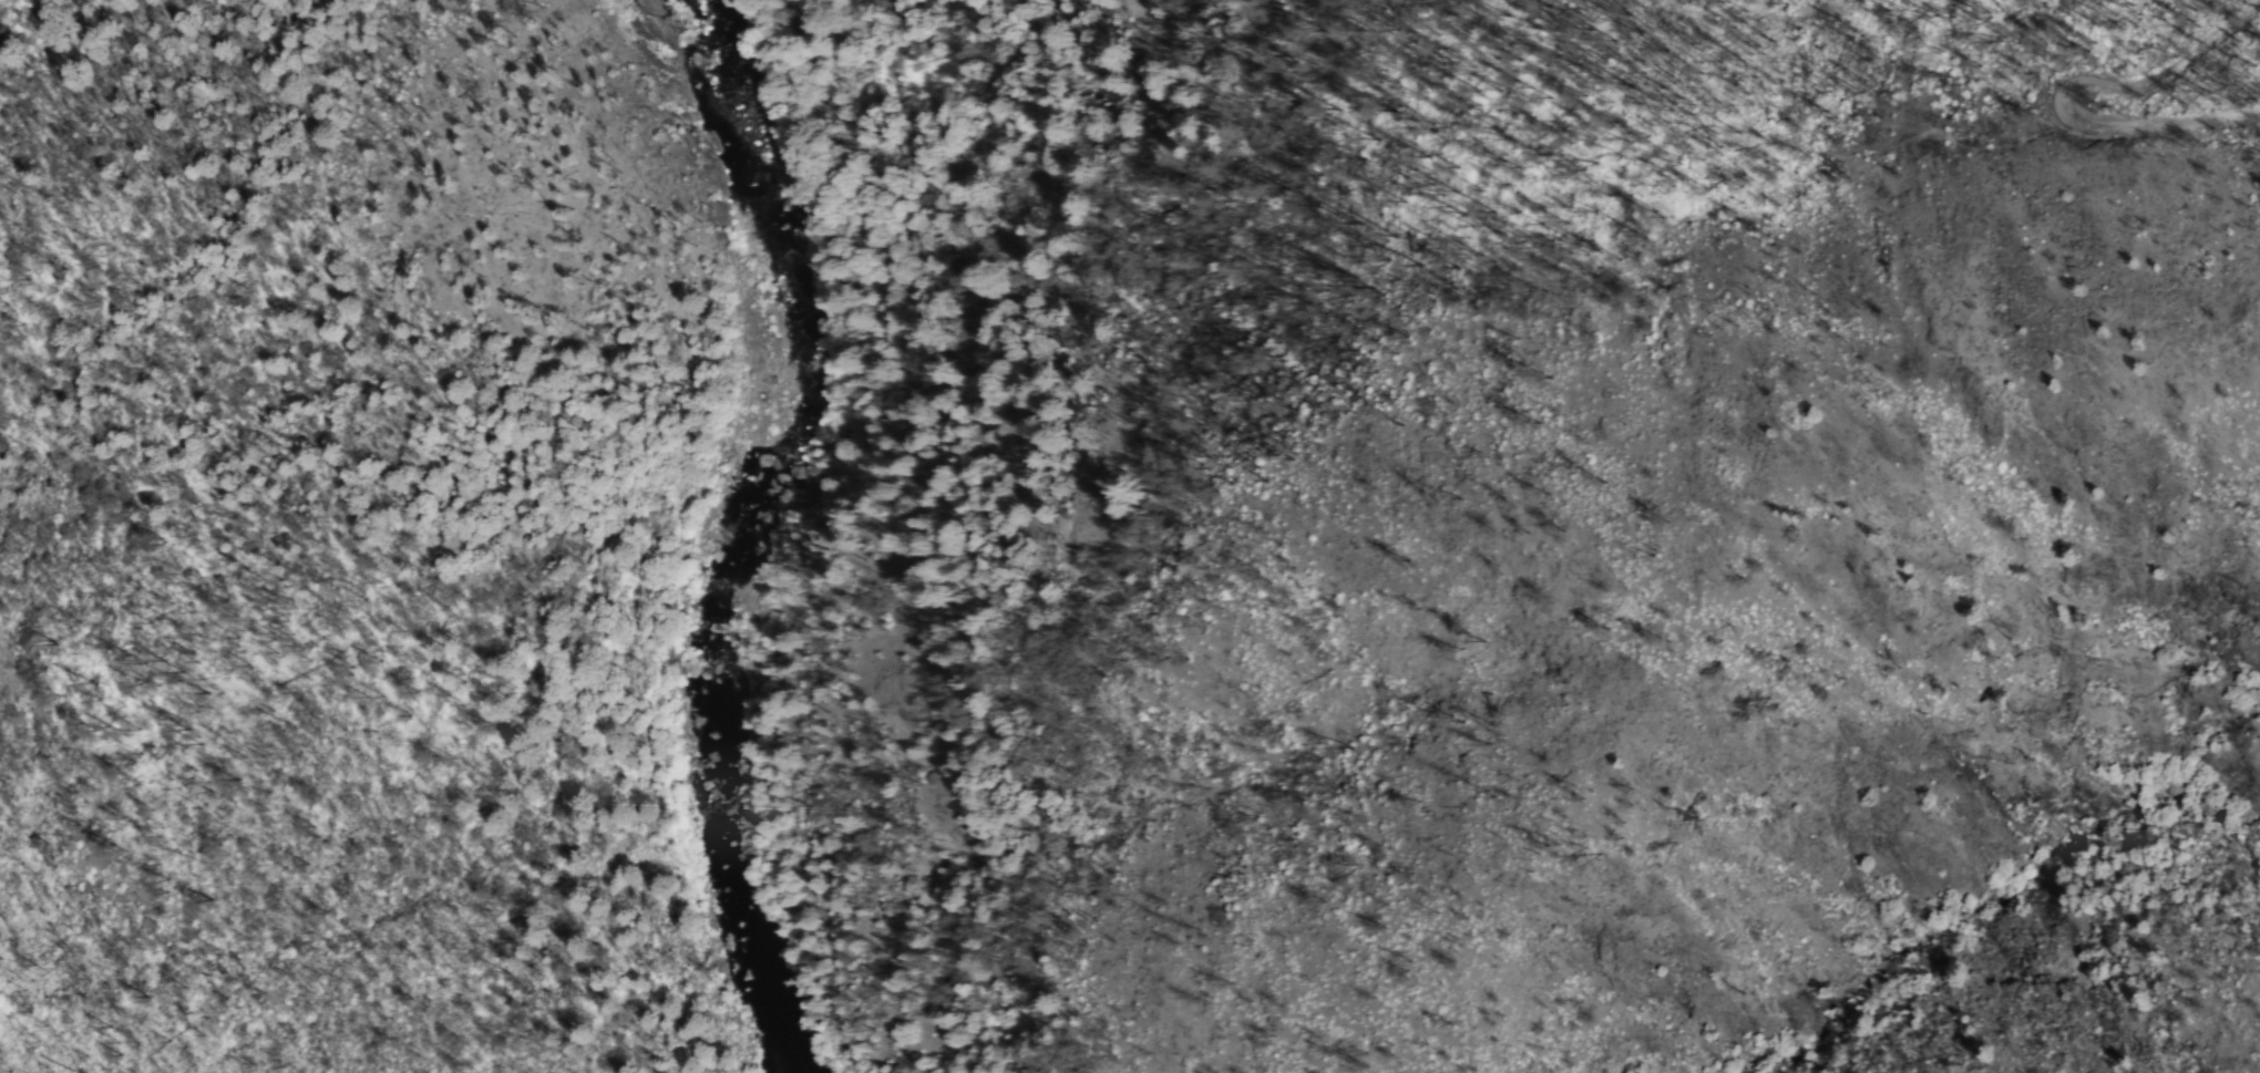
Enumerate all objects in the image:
road: (2068, 93)
river: (749, 530)

